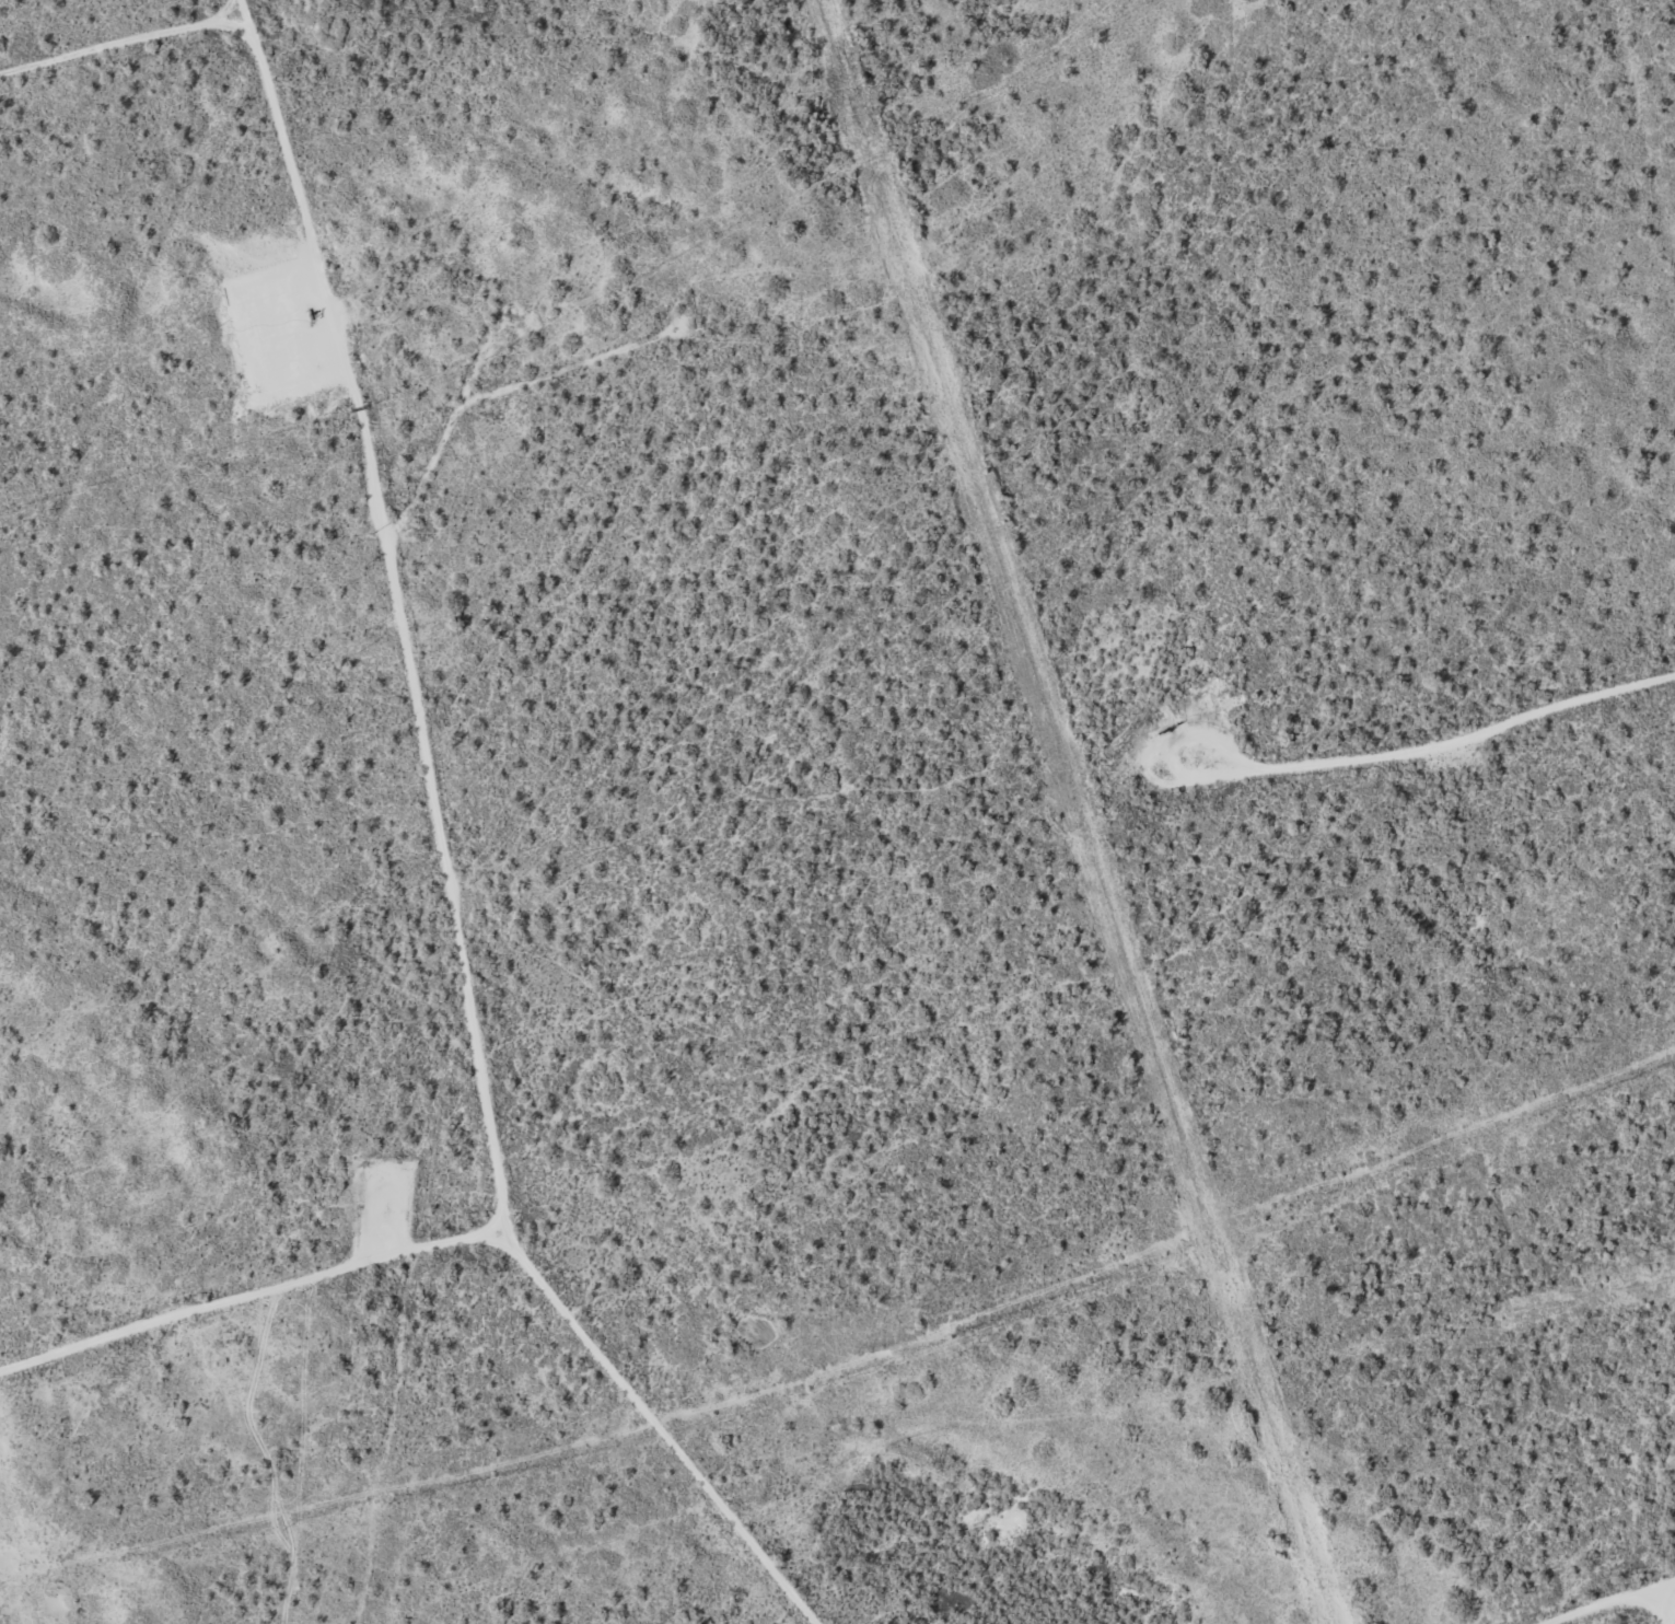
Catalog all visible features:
road: (1469, 734)
road: (1164, 751)
road: (415, 754)
road: (253, 1326)
road: (1668, 1613)

